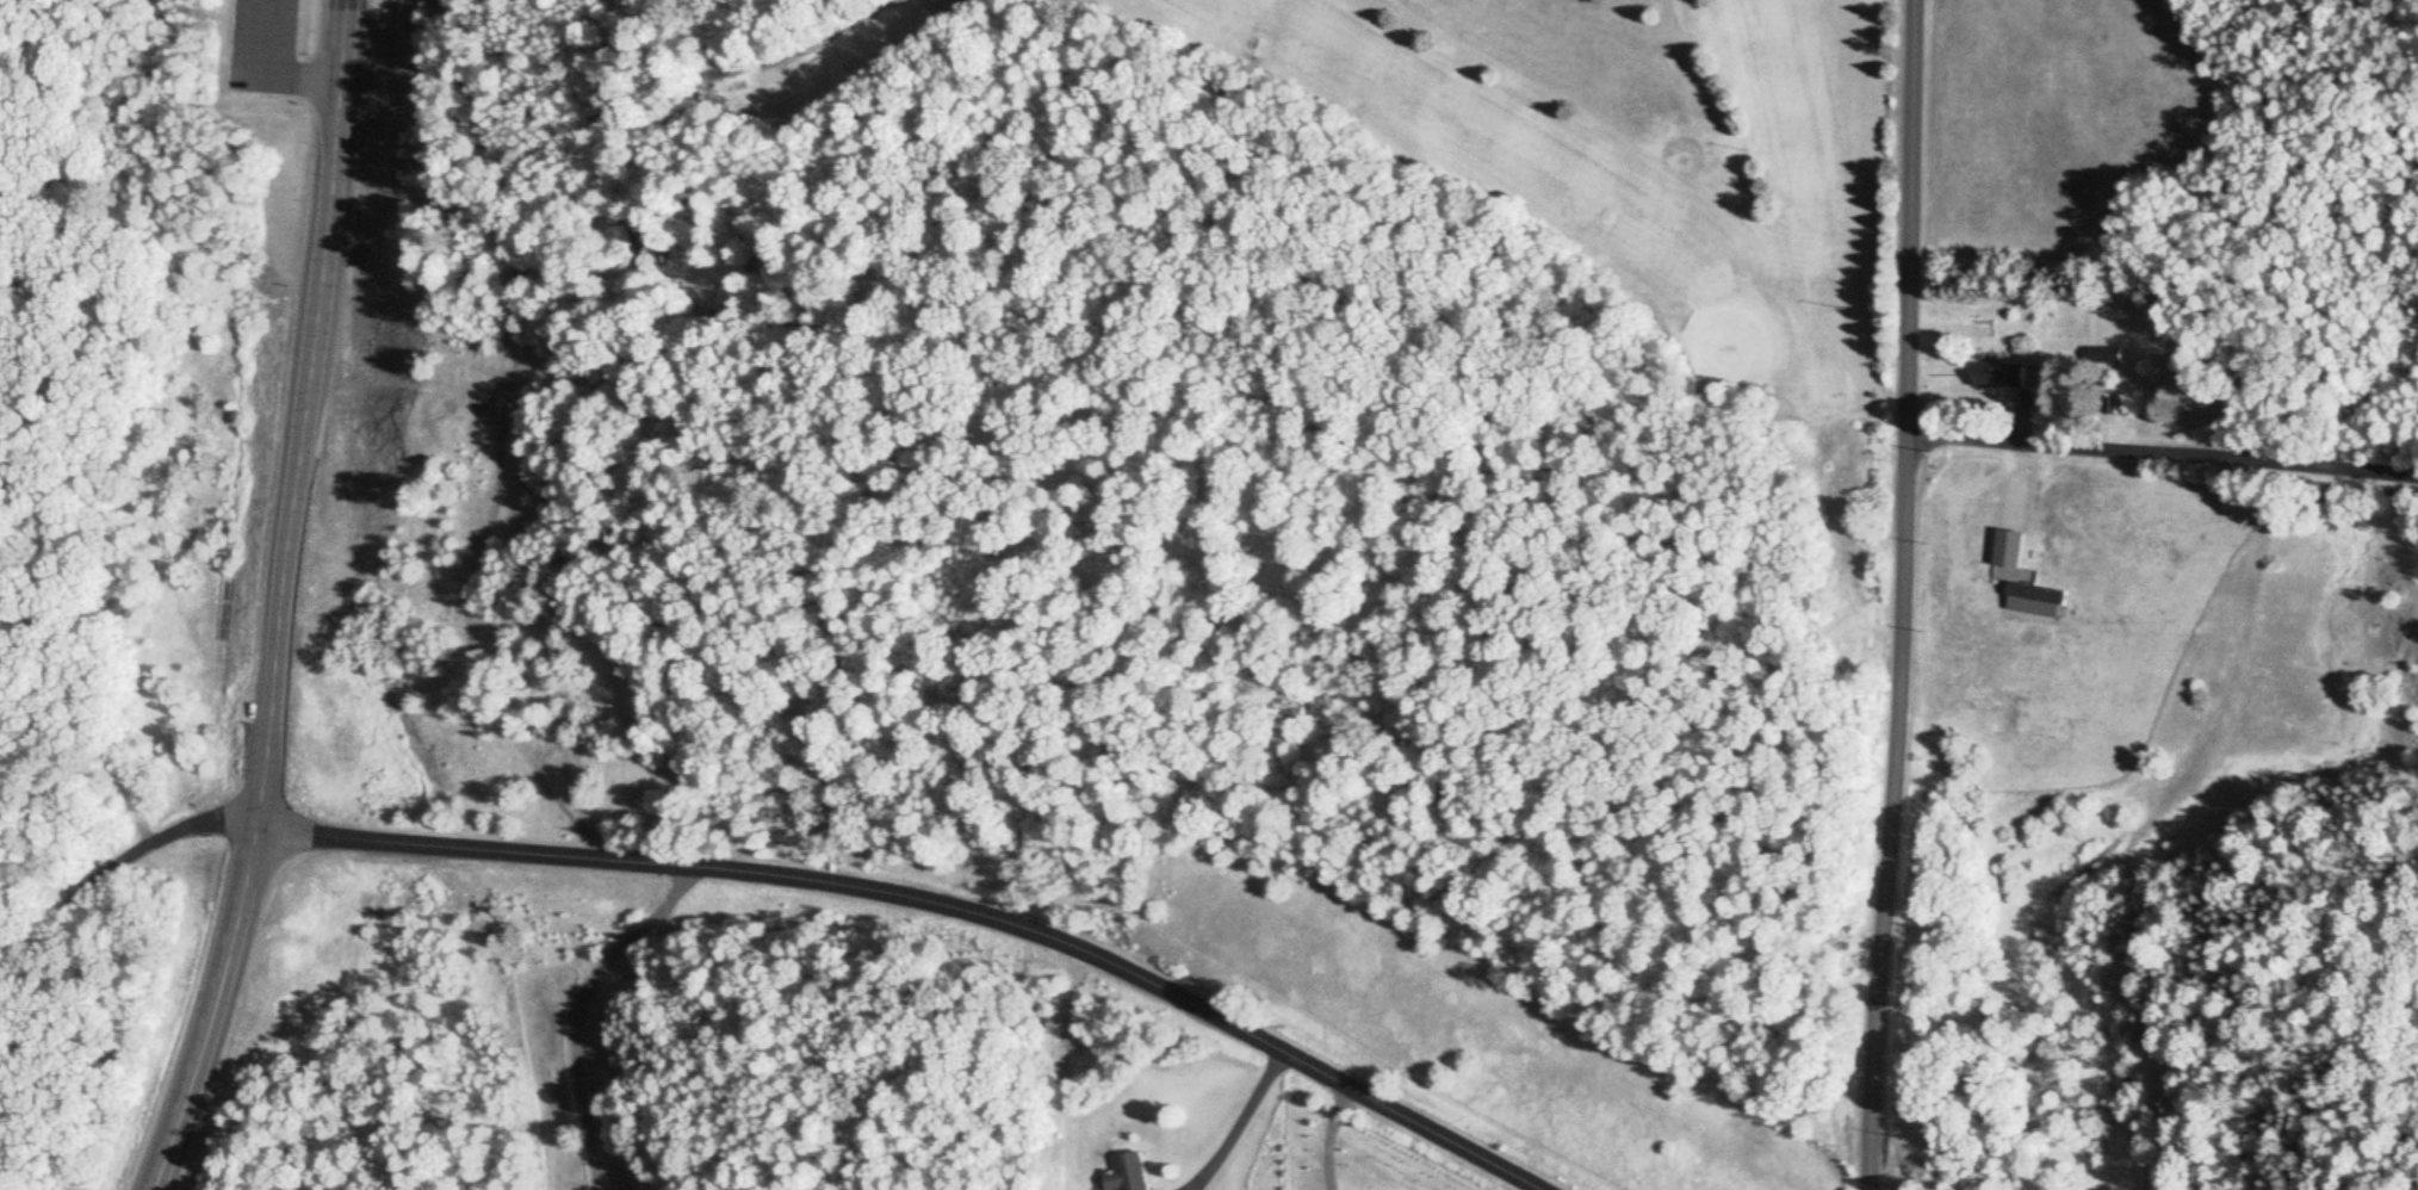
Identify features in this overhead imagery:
road: (255, 78)
park: (1604, 178)
park: (156, 188)
road: (1906, 218)
building: (2103, 358)
building: (1985, 376)
road: (2021, 453)
road: (2160, 455)
building: (2007, 550)
road: (283, 601)
road: (1892, 813)
road: (117, 860)
road: (925, 901)
road: (578, 1010)
road: (1239, 1124)

